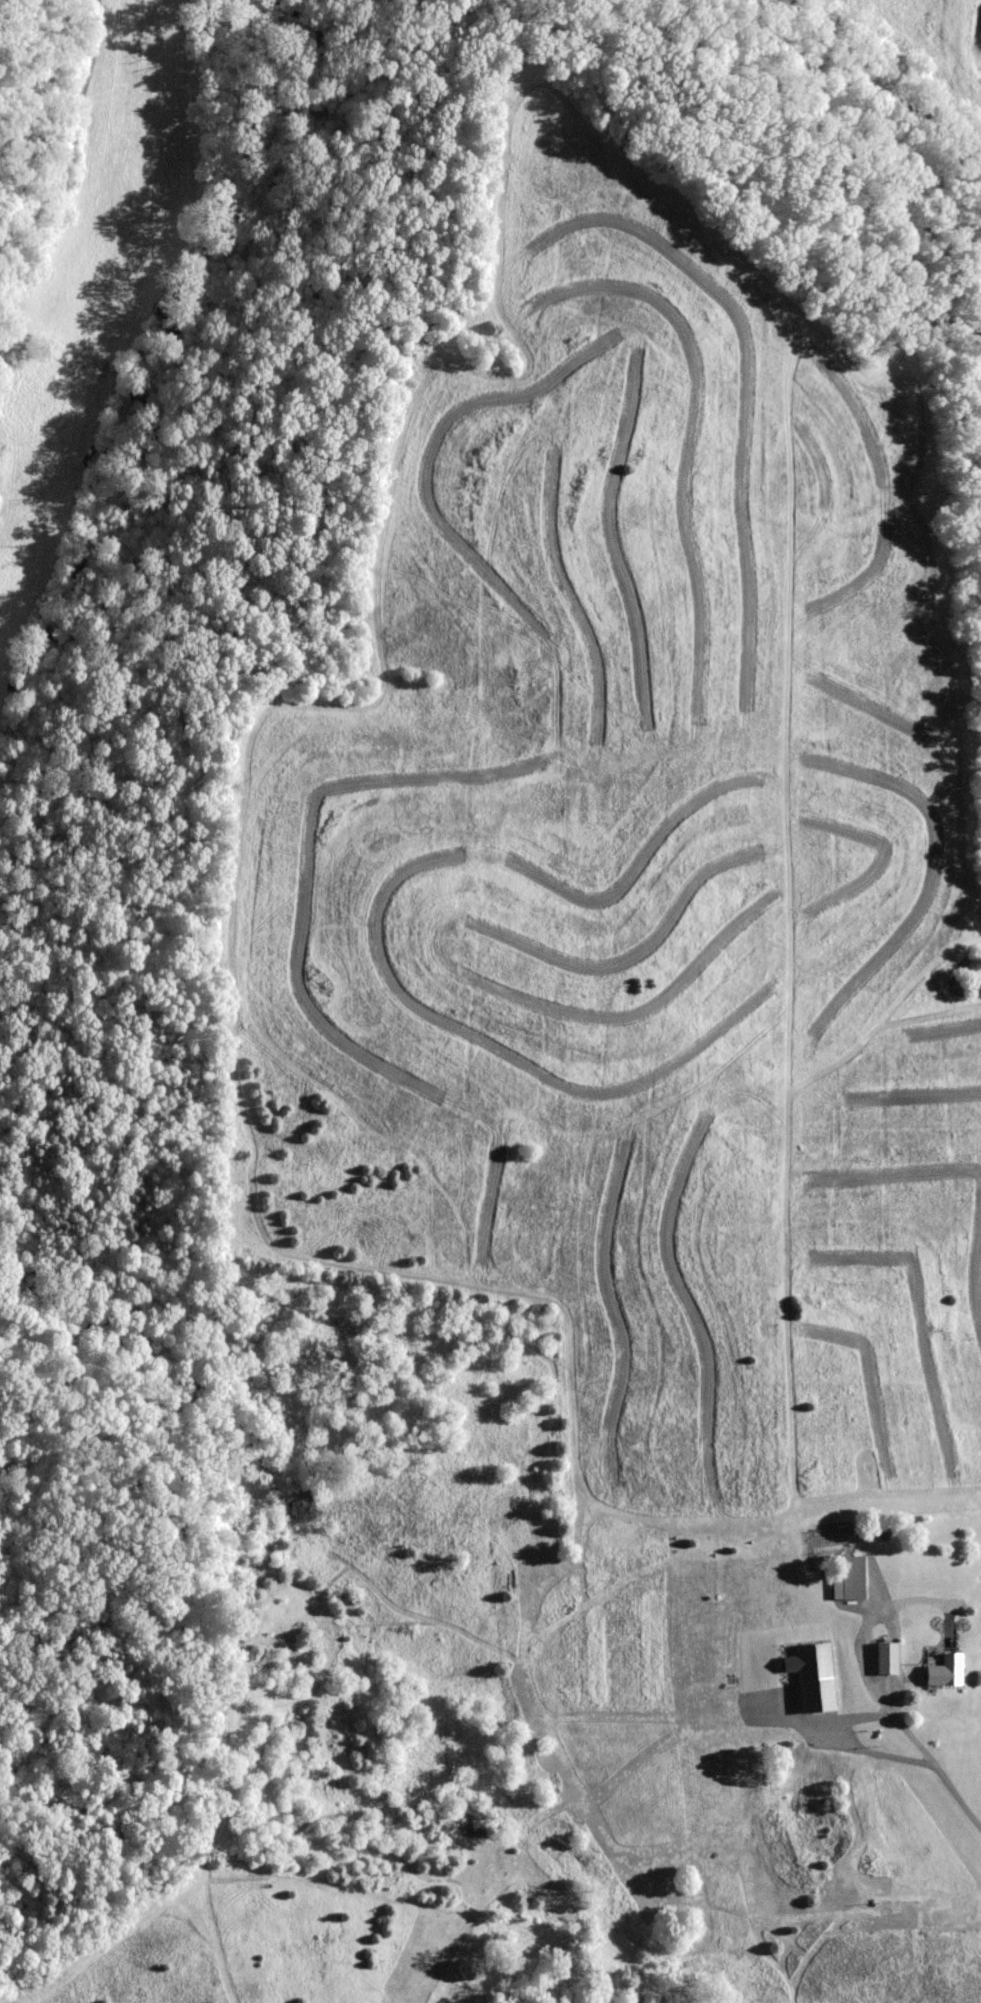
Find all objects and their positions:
building: (852, 1572)
building: (885, 1658)
building: (944, 1672)
road: (911, 1734)
road: (844, 1747)

